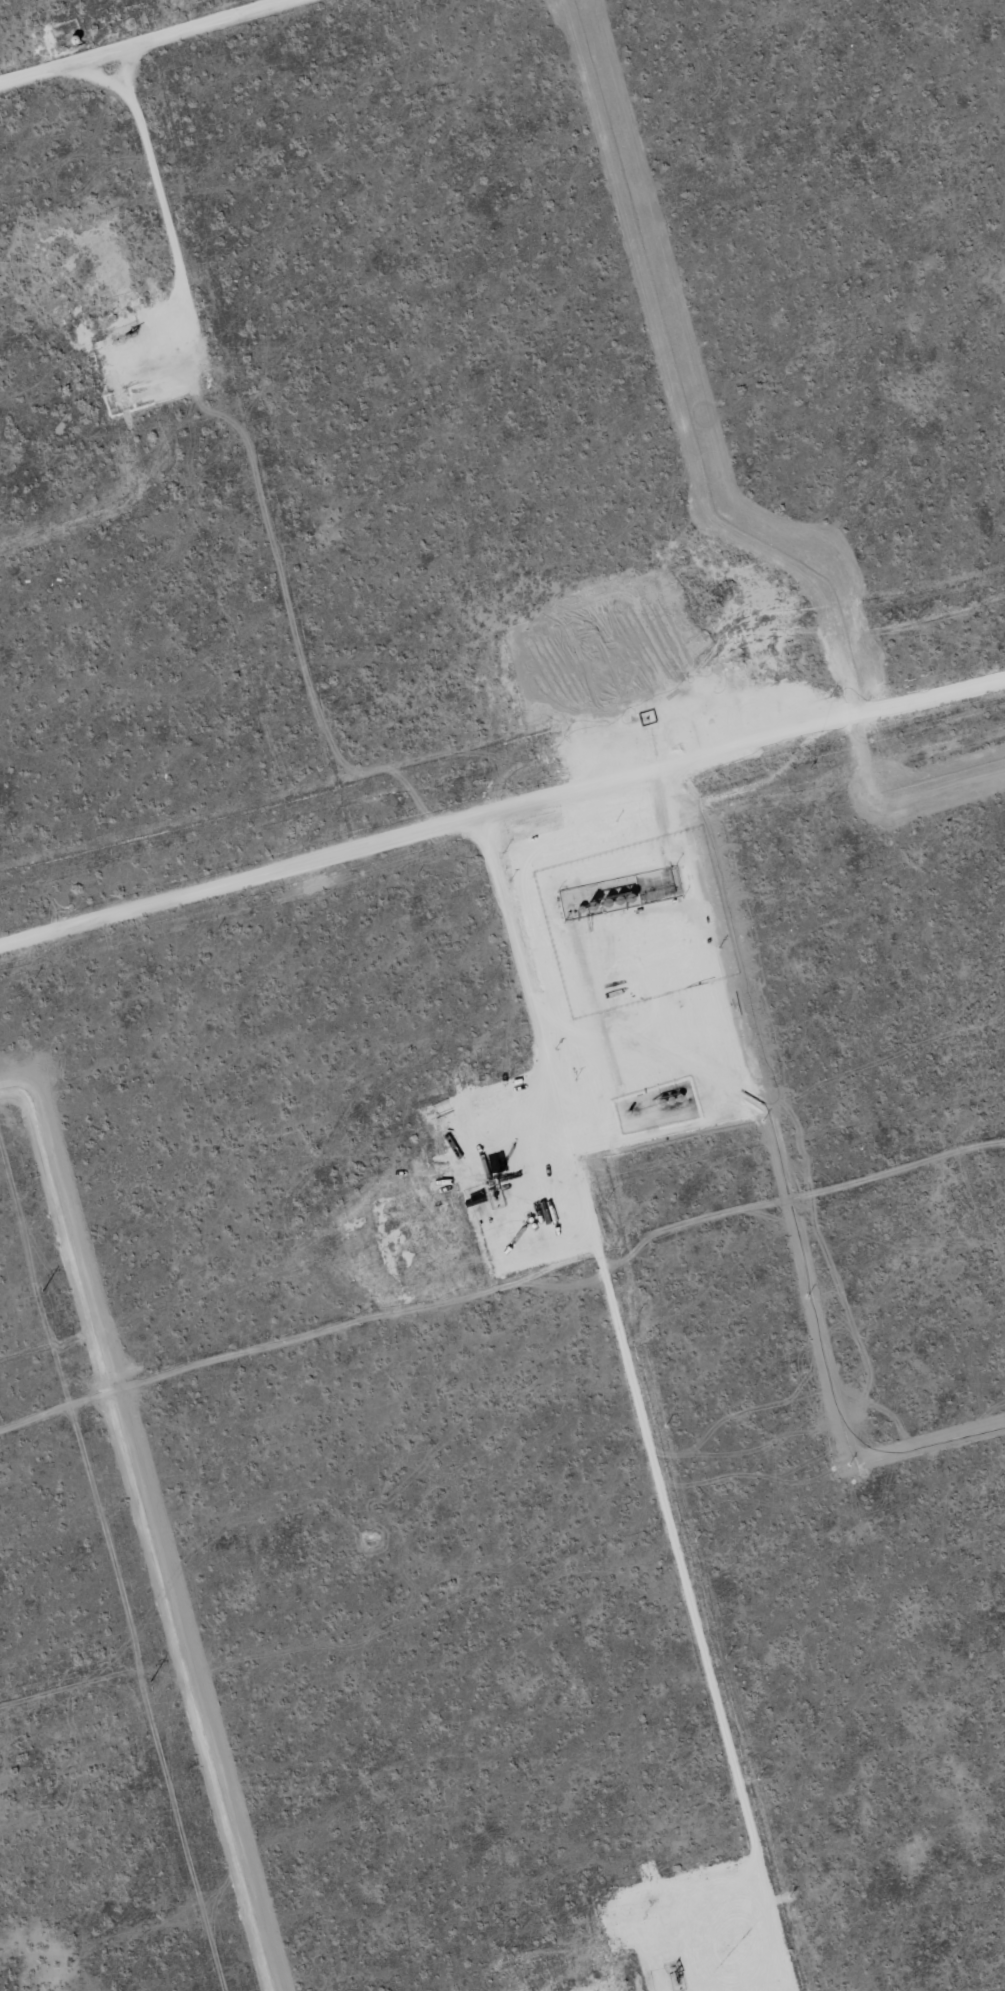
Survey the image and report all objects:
road: (105, 55)
power tower: (37, 1291)
road: (502, 1598)
power tower: (148, 1681)

